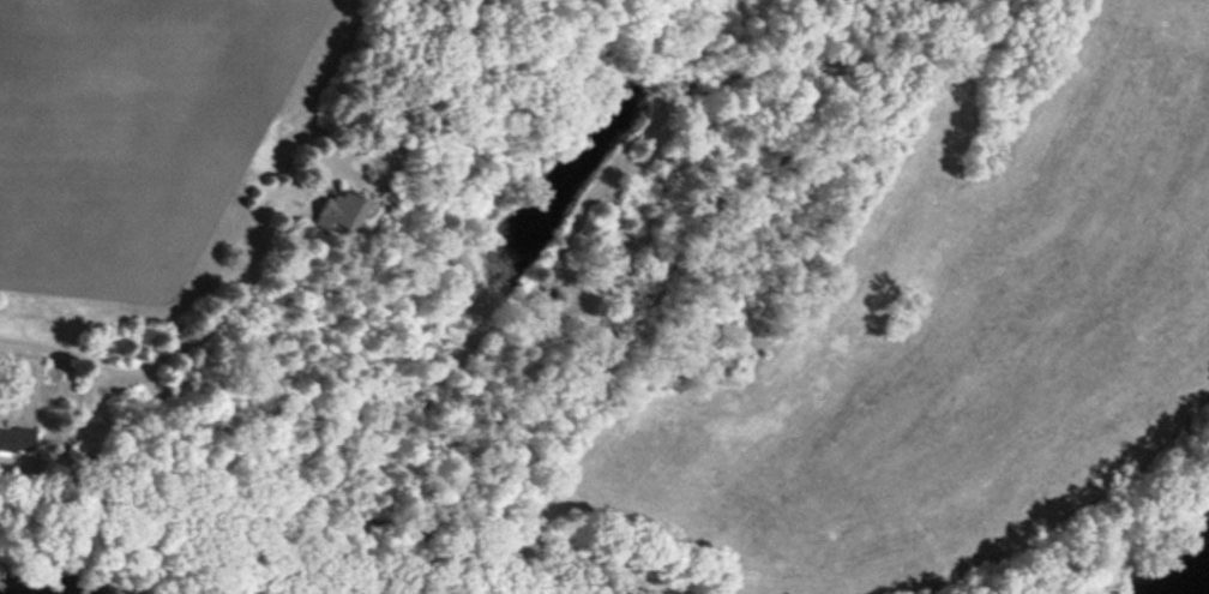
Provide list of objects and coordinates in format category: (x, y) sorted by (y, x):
building: (338, 211)
road: (182, 344)
building: (16, 439)
river: (1202, 586)

